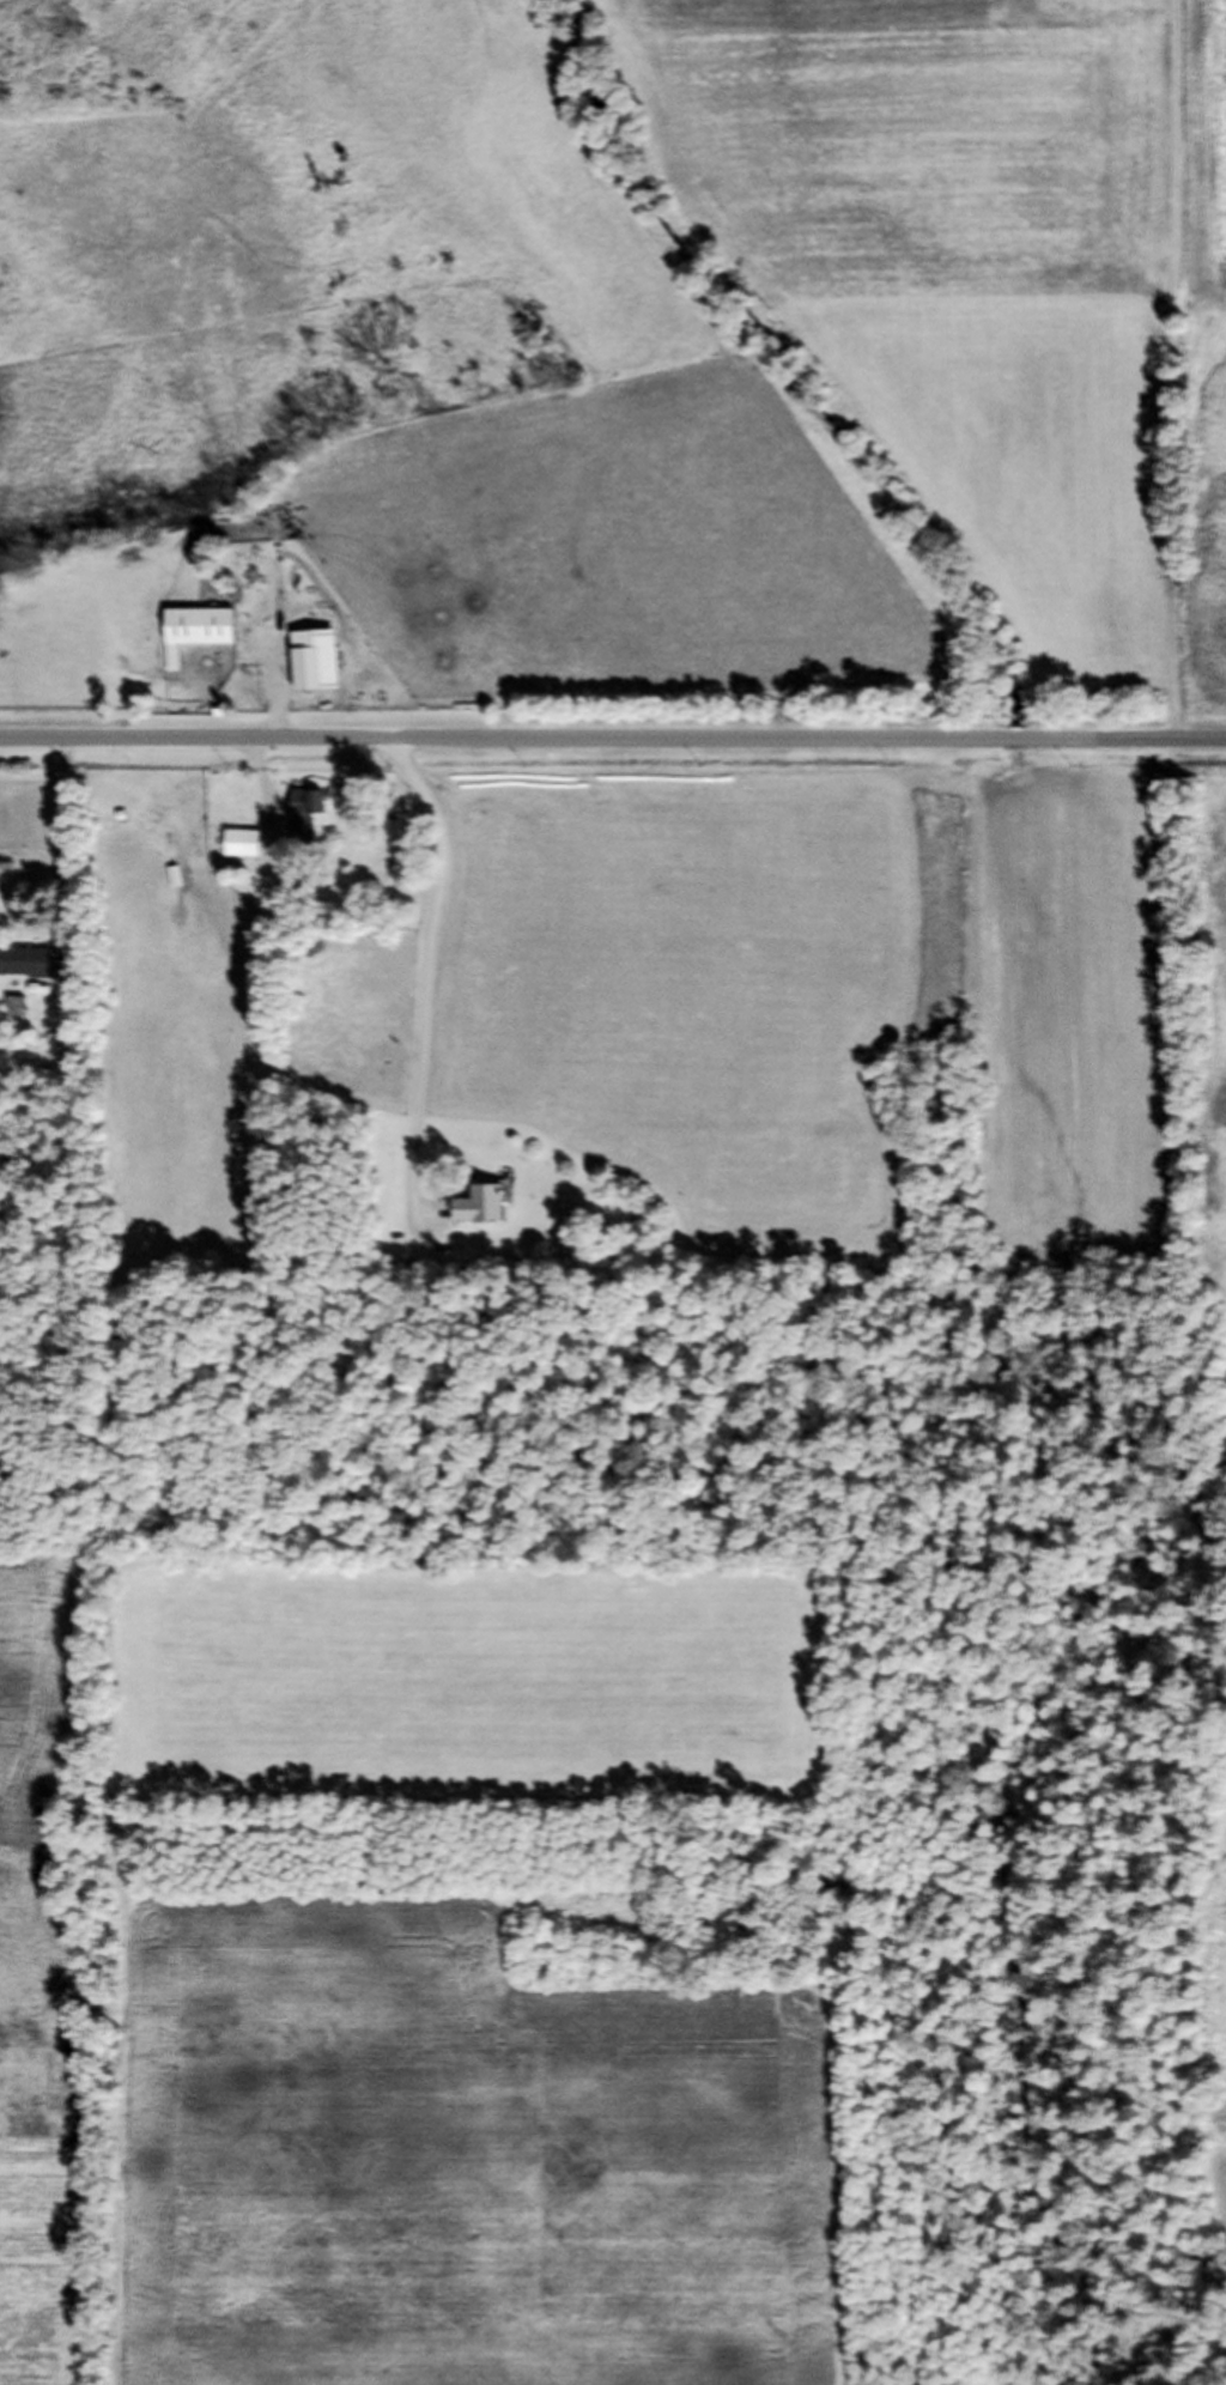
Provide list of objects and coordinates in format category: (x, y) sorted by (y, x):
building: (195, 638)
building: (303, 676)
road: (612, 740)
building: (303, 824)
building: (239, 850)
building: (24, 970)
road: (420, 975)
building: (475, 1213)

